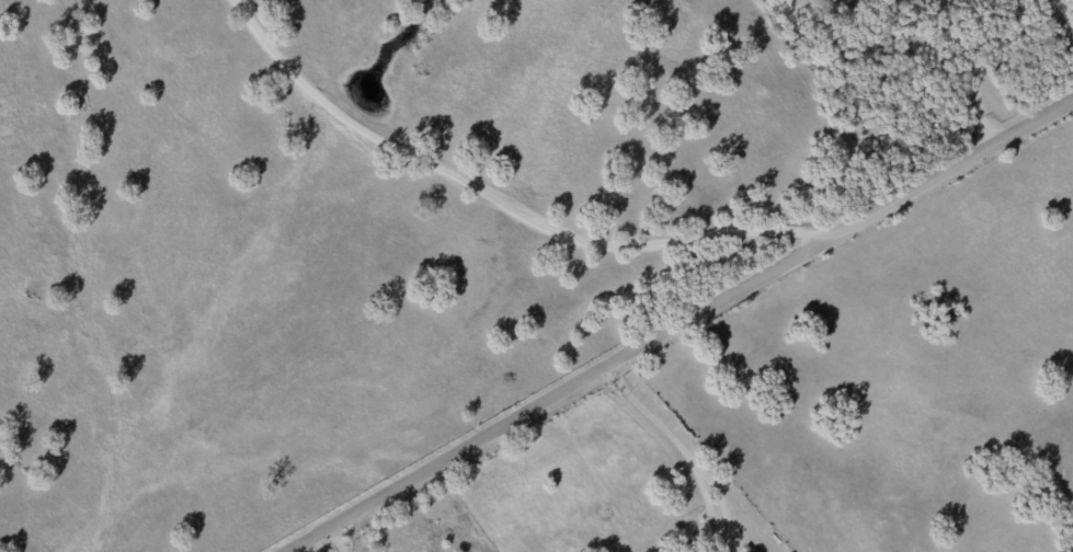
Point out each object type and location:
building: (853, 0)
road: (1059, 26)
road: (974, 69)
road: (463, 194)
road: (678, 325)
road: (673, 451)
road: (336, 539)

